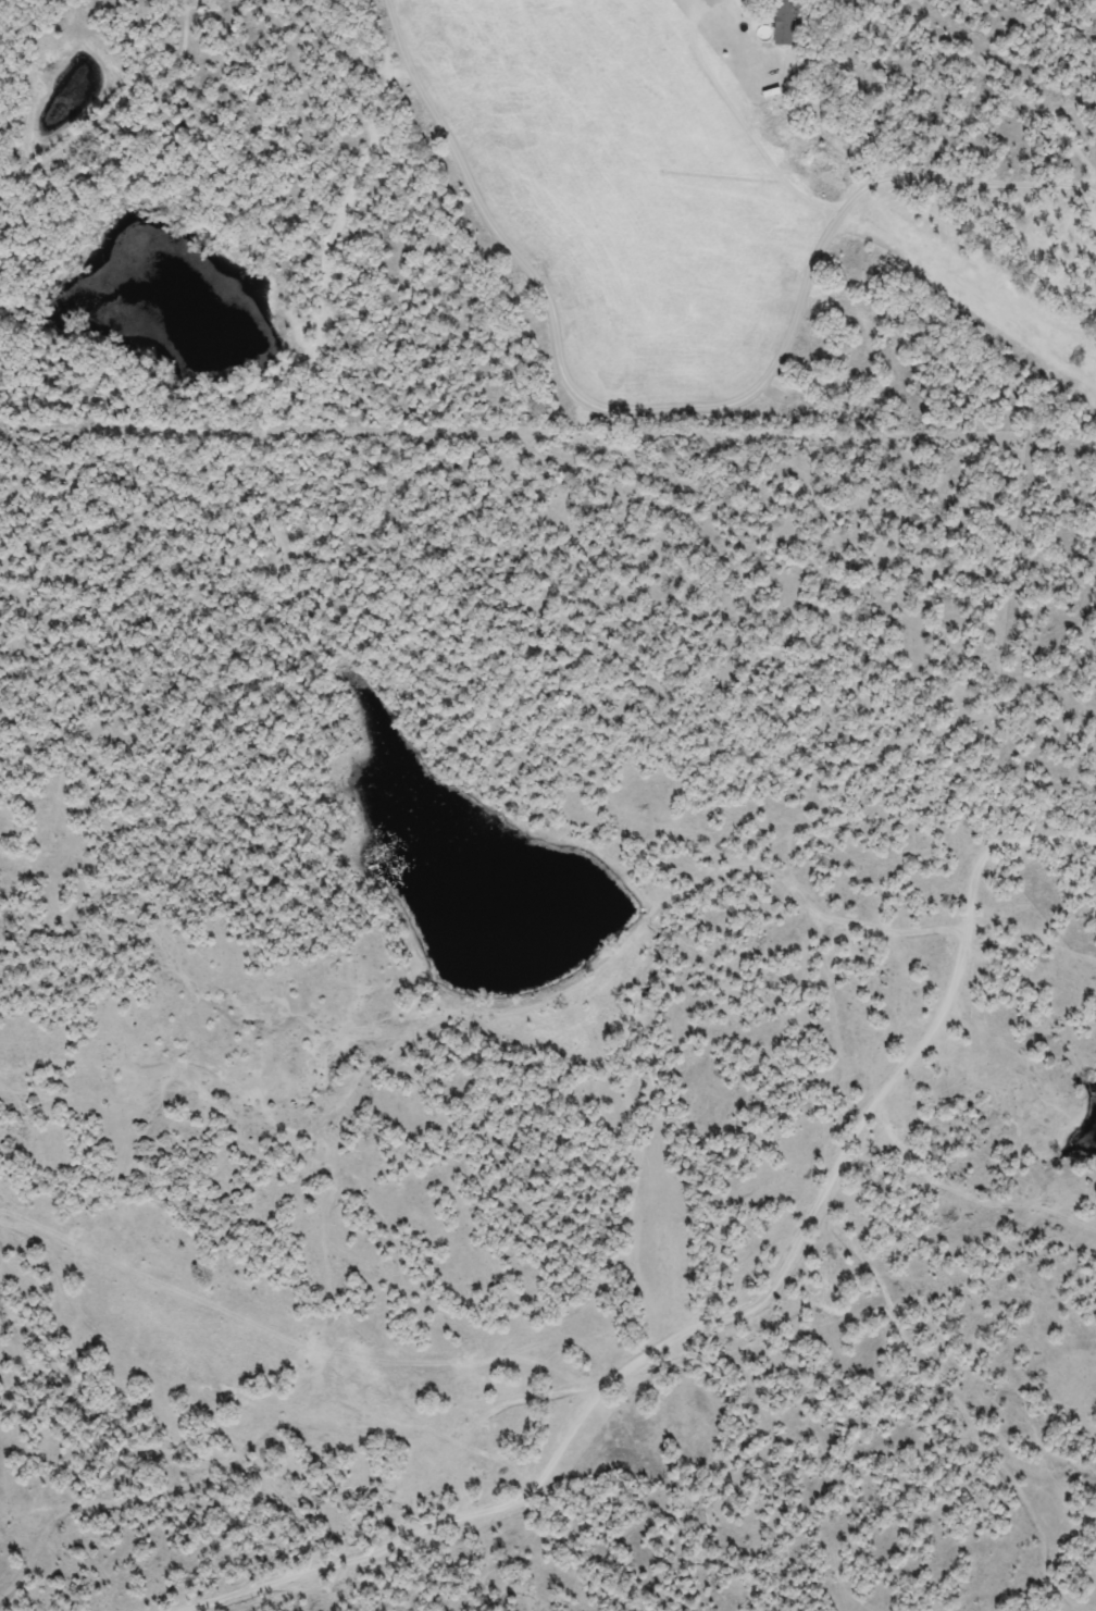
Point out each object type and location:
building: (783, 22)
road: (743, 121)
road: (674, 402)

